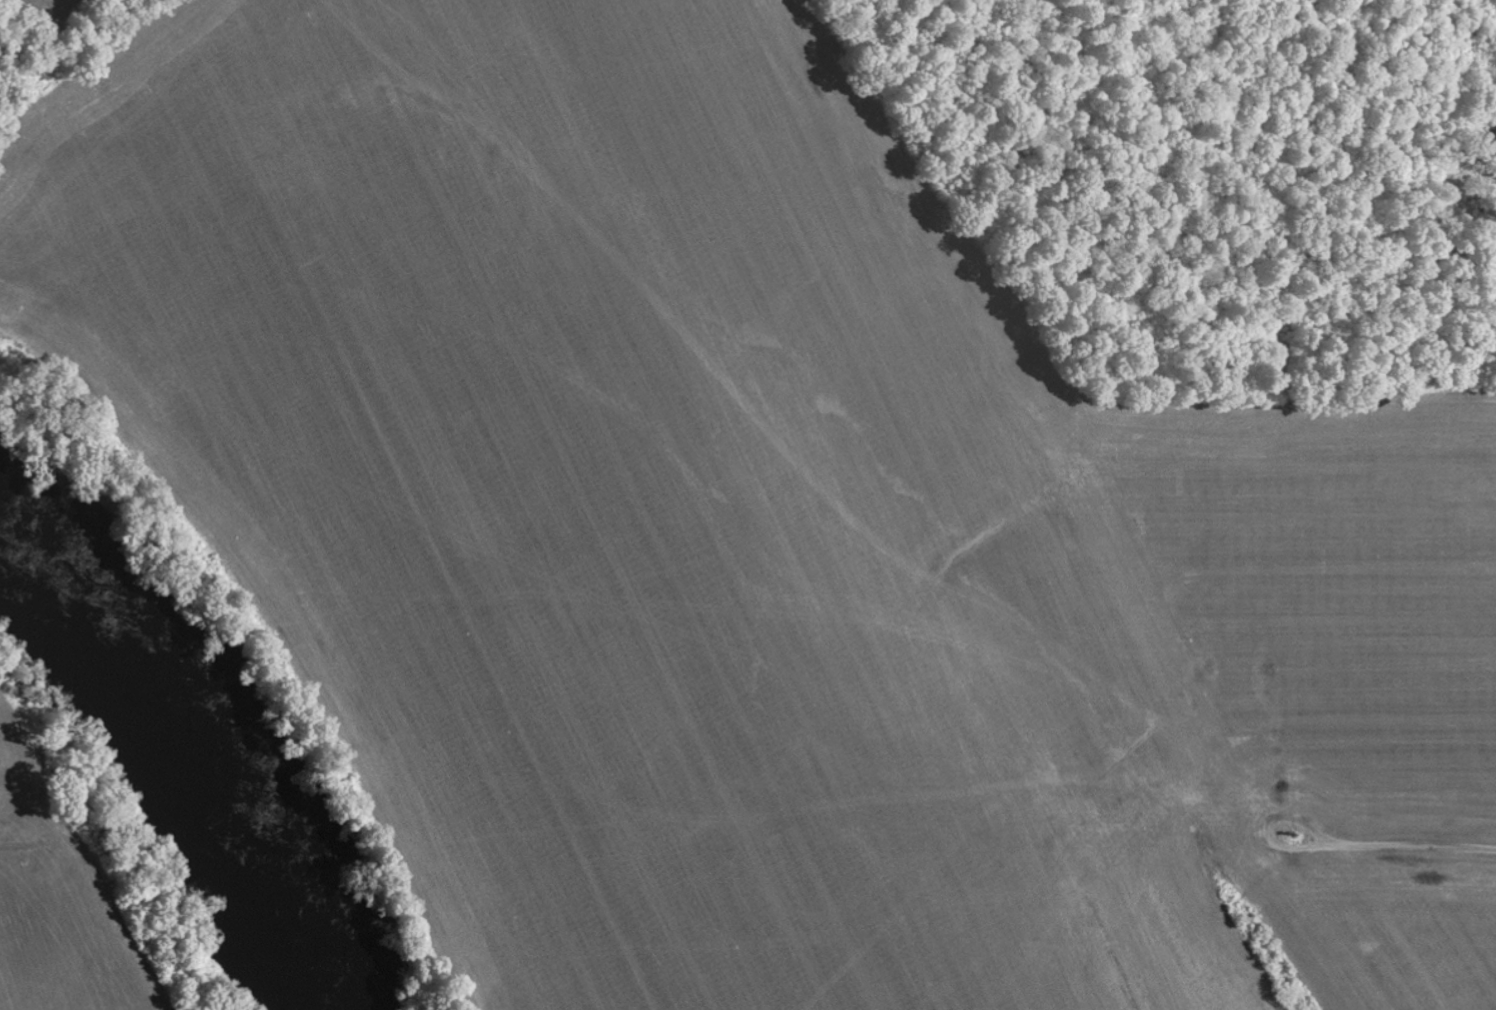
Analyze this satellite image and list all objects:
river: (180, 762)
road: (1363, 847)

